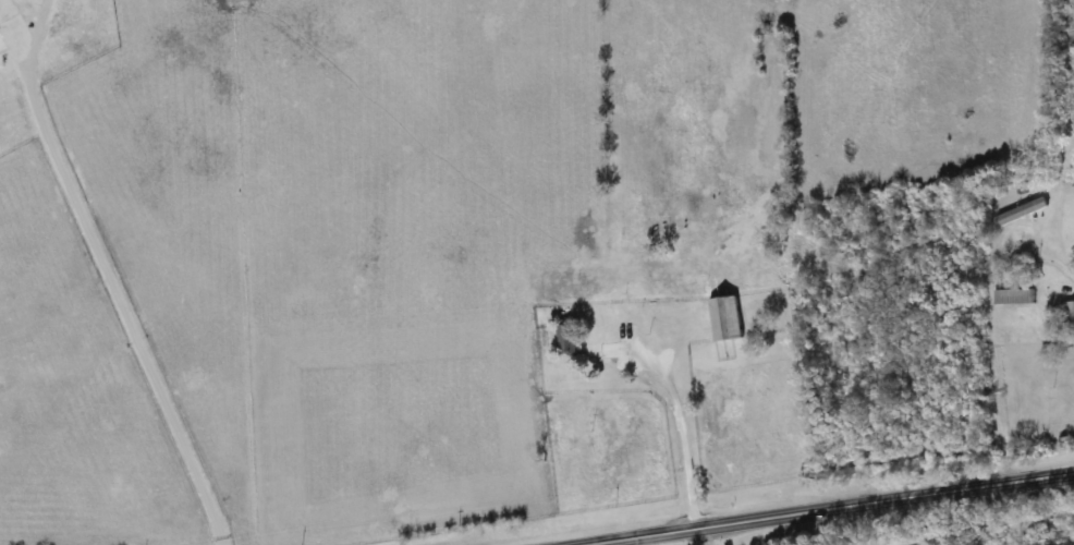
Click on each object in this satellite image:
building: (1022, 213)
road: (1062, 264)
road: (111, 287)
building: (1014, 299)
building: (1070, 317)
building: (725, 320)
building: (569, 342)
road: (680, 423)
road: (821, 506)

